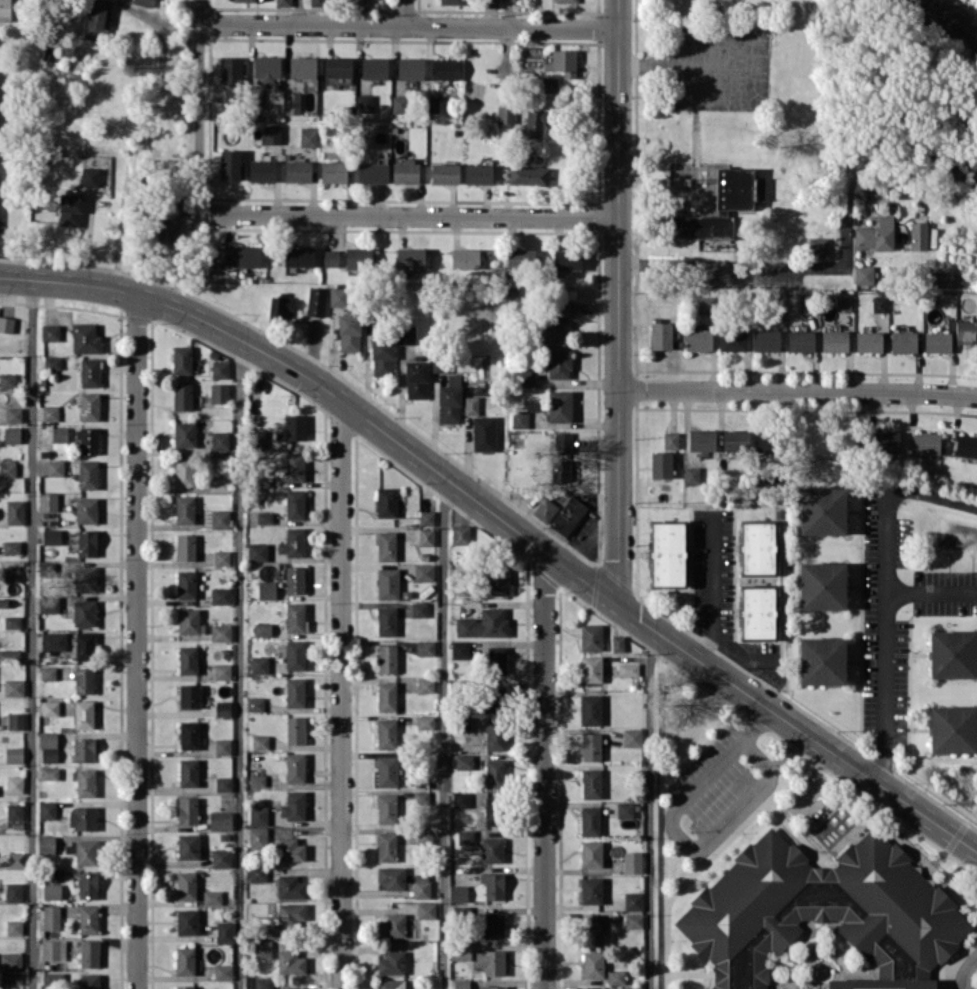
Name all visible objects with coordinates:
building: (244, 0)
building: (565, 1)
building: (143, 2)
building: (282, 2)
building: (316, 2)
building: (352, 2)
building: (450, 2)
building: (491, 3)
building: (5, 10)
road: (299, 12)
road: (403, 13)
road: (508, 13)
railway: (956, 14)
building: (97, 18)
road: (23, 21)
railway: (944, 21)
road: (409, 26)
building: (562, 62)
building: (337, 66)
building: (266, 67)
building: (302, 67)
building: (374, 68)
building: (410, 68)
building: (446, 68)
building: (230, 69)
building: (549, 84)
building: (398, 101)
building: (292, 102)
road: (200, 103)
building: (364, 103)
building: (433, 103)
building: (505, 114)
building: (531, 126)
building: (272, 134)
building: (308, 136)
building: (229, 164)
building: (261, 170)
building: (297, 171)
building: (333, 171)
building: (405, 171)
building: (372, 172)
building: (444, 173)
building: (478, 173)
building: (528, 175)
building: (89, 176)
building: (737, 188)
building: (70, 209)
road: (409, 214)
building: (698, 226)
building: (167, 233)
building: (875, 235)
building: (918, 235)
building: (238, 256)
building: (298, 256)
building: (333, 258)
building: (357, 258)
building: (410, 258)
building: (465, 258)
building: (520, 259)
building: (566, 259)
road: (757, 265)
building: (864, 274)
building: (338, 296)
building: (316, 301)
road: (619, 301)
building: (843, 303)
building: (878, 303)
building: (706, 304)
building: (280, 307)
building: (561, 309)
building: (6, 324)
building: (966, 330)
building: (552, 331)
building: (50, 332)
building: (348, 332)
building: (405, 334)
building: (660, 335)
building: (85, 338)
building: (697, 339)
building: (732, 339)
building: (766, 340)
building: (800, 340)
building: (834, 340)
building: (868, 341)
building: (903, 341)
building: (937, 341)
building: (382, 356)
building: (181, 359)
building: (52, 362)
building: (439, 363)
building: (558, 363)
building: (219, 369)
building: (89, 372)
building: (522, 378)
building: (416, 379)
building: (7, 380)
road: (798, 391)
building: (219, 392)
building: (182, 396)
building: (449, 403)
building: (470, 405)
building: (559, 405)
building: (89, 406)
building: (50, 412)
building: (13, 414)
building: (519, 419)
building: (294, 426)
building: (484, 433)
building: (11, 434)
building: (184, 434)
building: (59, 437)
building: (257, 439)
building: (670, 439)
building: (701, 439)
building: (88, 440)
building: (219, 440)
building: (735, 440)
building: (886, 441)
building: (562, 442)
building: (926, 443)
building: (764, 444)
building: (966, 445)
building: (660, 464)
building: (294, 466)
building: (55, 467)
building: (7, 469)
building: (560, 470)
building: (183, 471)
building: (87, 474)
building: (692, 474)
building: (218, 483)
road: (885, 496)
building: (47, 501)
building: (386, 502)
building: (294, 504)
building: (184, 509)
building: (544, 509)
building: (85, 510)
building: (822, 510)
building: (15, 511)
building: (567, 515)
building: (264, 517)
building: (426, 517)
building: (216, 519)
road: (506, 521)
building: (460, 534)
building: (51, 536)
building: (426, 536)
building: (86, 542)
building: (292, 542)
building: (386, 545)
building: (11, 546)
building: (185, 547)
building: (757, 547)
building: (257, 551)
building: (667, 553)
building: (221, 557)
building: (423, 572)
building: (13, 573)
building: (84, 578)
building: (295, 579)
building: (496, 581)
building: (387, 583)
building: (186, 584)
building: (822, 585)
road: (710, 587)
building: (266, 589)
road: (931, 591)
building: (220, 595)
building: (48, 605)
building: (419, 609)
building: (84, 612)
building: (757, 612)
building: (294, 617)
building: (386, 620)
building: (12, 621)
building: (189, 621)
building: (483, 624)
building: (261, 629)
building: (220, 632)
road: (32, 634)
building: (590, 637)
building: (53, 640)
road: (136, 641)
building: (617, 643)
building: (84, 645)
building: (425, 647)
building: (295, 654)
building: (951, 654)
building: (9, 655)
road: (739, 655)
building: (387, 658)
building: (187, 659)
building: (495, 660)
building: (821, 660)
road: (239, 664)
building: (259, 664)
building: (590, 668)
building: (627, 669)
building: (222, 671)
building: (48, 673)
building: (84, 680)
building: (424, 684)
building: (14, 687)
road: (884, 690)
building: (295, 692)
road: (340, 693)
building: (189, 695)
building: (386, 696)
building: (493, 699)
building: (254, 703)
building: (49, 708)
building: (222, 708)
building: (590, 709)
building: (83, 714)
building: (16, 720)
building: (424, 722)
building: (465, 723)
building: (295, 729)
building: (952, 729)
road: (444, 732)
building: (386, 733)
building: (189, 734)
building: (494, 735)
building: (631, 736)
building: (259, 742)
building: (222, 746)
building: (590, 746)
building: (48, 747)
building: (83, 749)
building: (14, 754)
building: (463, 761)
building: (295, 767)
road: (543, 769)
building: (387, 770)
building: (188, 772)
building: (494, 772)
building: (49, 773)
building: (257, 780)
building: (85, 782)
building: (223, 783)
building: (591, 783)
building: (14, 784)
building: (421, 797)
building: (460, 799)
building: (293, 805)
road: (649, 807)
building: (386, 808)
building: (47, 809)
building: (624, 809)
building: (187, 810)
building: (14, 811)
building: (493, 811)
building: (257, 815)
building: (82, 817)
building: (220, 820)
building: (589, 820)
building: (424, 835)
building: (257, 836)
building: (465, 836)
road: (681, 837)
building: (46, 844)
building: (188, 846)
building: (386, 846)
building: (290, 849)
building: (491, 849)
building: (82, 851)
building: (591, 853)
building: (221, 857)
building: (16, 859)
building: (632, 861)
building: (257, 872)
building: (391, 877)
building: (87, 885)
building: (186, 885)
building: (421, 885)
building: (493, 885)
building: (290, 887)
building: (590, 890)
building: (51, 891)
building: (13, 892)
building: (458, 893)
building: (212, 897)
building: (633, 900)
building: (425, 910)
building: (51, 917)
building: (88, 919)
building: (283, 919)
building: (822, 919)
building: (633, 920)
building: (186, 921)
building: (492, 924)
building: (391, 925)
building: (14, 927)
building: (224, 931)
building: (591, 931)
building: (262, 948)
building: (53, 950)
building: (460, 951)
building: (89, 953)
building: (10, 959)
building: (184, 960)
building: (491, 961)
building: (290, 962)
building: (391, 963)
building: (592, 964)
building: (222, 971)
road: (965, 972)
building: (615, 976)
building: (52, 977)
building: (10, 978)
building: (89, 981)
building: (263, 982)
building: (390, 983)
building: (461, 984)
building: (184, 987)
building: (491, 987)
building: (290, 988)
building: (633, 988)

